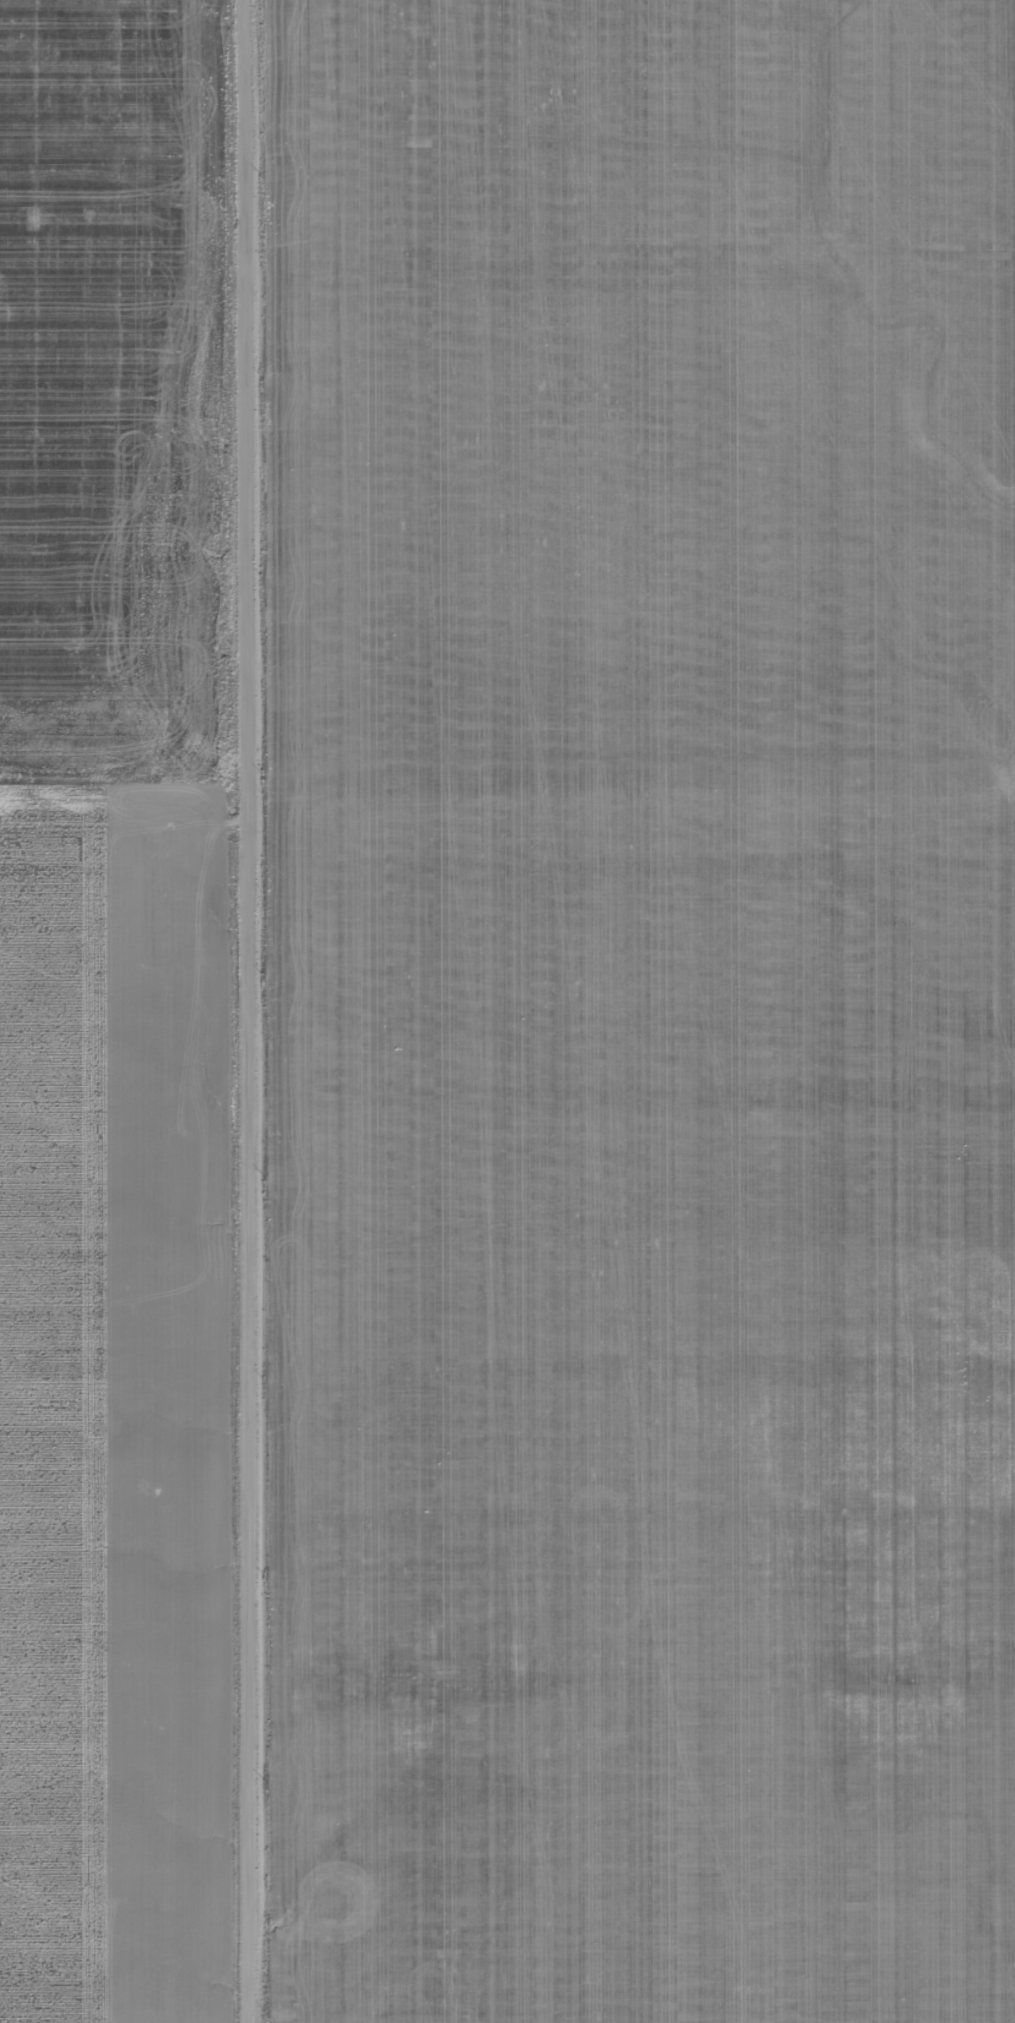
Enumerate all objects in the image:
road: (127, 138)
road: (254, 1011)

